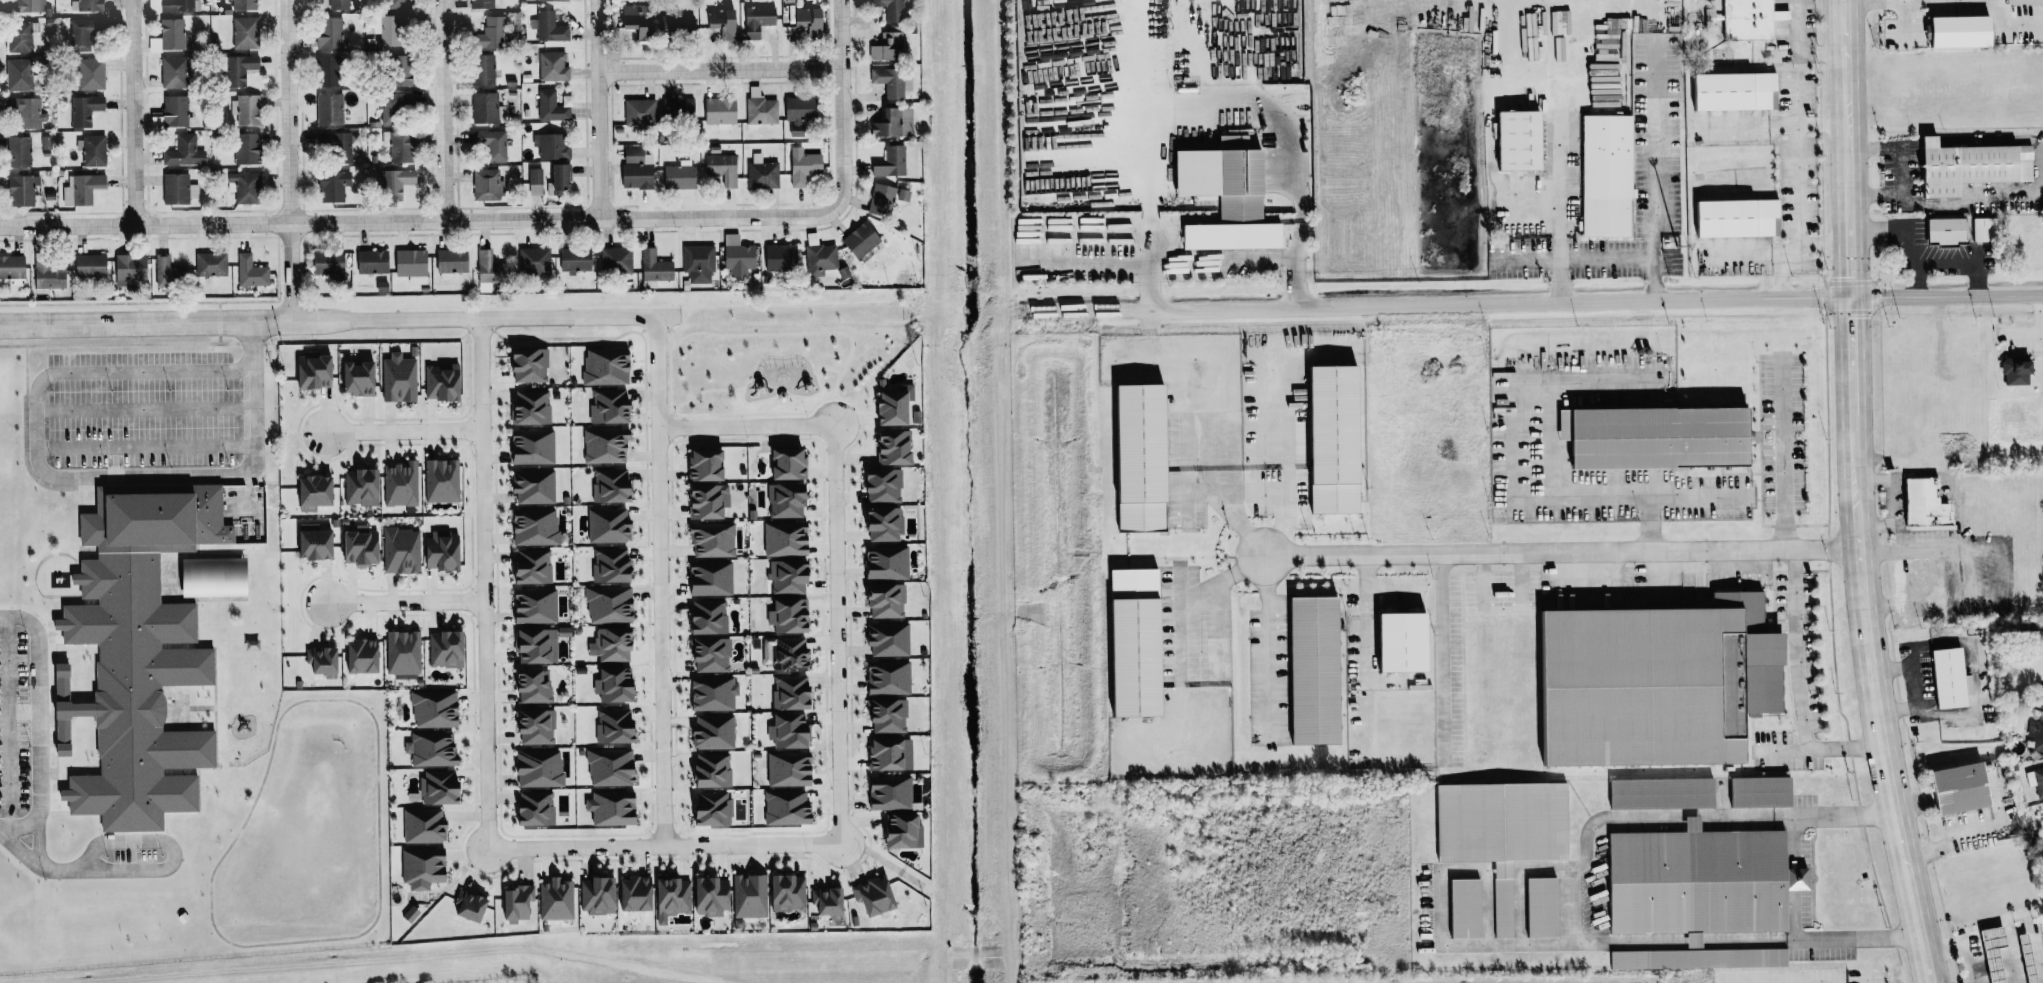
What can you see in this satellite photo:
building: (551, 0)
road: (1912, 0)
building: (338, 4)
building: (400, 4)
building: (485, 4)
building: (90, 5)
building: (177, 5)
building: (245, 5)
building: (27, 6)
building: (888, 8)
building: (631, 18)
building: (753, 19)
building: (804, 19)
building: (1747, 19)
building: (680, 22)
building: (720, 22)
building: (1553, 22)
road: (1907, 22)
road: (2009, 24)
building: (546, 26)
building: (394, 30)
building: (1952, 30)
building: (487, 32)
building: (246, 33)
building: (332, 34)
building: (85, 35)
building: (169, 36)
building: (21, 37)
building: (1604, 42)
building: (885, 46)
road: (1800, 47)
building: (551, 66)
building: (480, 69)
building: (240, 70)
building: (395, 70)
road: (720, 70)
building: (176, 73)
building: (92, 74)
building: (18, 75)
building: (889, 82)
building: (1729, 90)
road: (1846, 90)
building: (324, 92)
road: (1179, 99)
road: (841, 101)
building: (393, 105)
building: (551, 105)
road: (1126, 106)
building: (482, 107)
building: (795, 108)
building: (243, 109)
road: (599, 109)
building: (676, 109)
building: (85, 110)
building: (172, 110)
building: (716, 110)
building: (759, 110)
road: (1247, 110)
building: (26, 111)
road: (443, 111)
building: (636, 111)
road: (133, 112)
building: (892, 122)
road: (1821, 124)
road: (1746, 125)
building: (1514, 139)
building: (490, 143)
building: (337, 145)
building: (549, 145)
building: (397, 146)
building: (243, 147)
building: (91, 150)
building: (16, 151)
building: (182, 151)
road: (289, 160)
building: (889, 161)
building: (1966, 165)
building: (801, 166)
building: (720, 167)
building: (633, 168)
road: (1906, 168)
building: (760, 172)
road: (1656, 173)
building: (1602, 174)
building: (676, 176)
building: (555, 177)
building: (533, 180)
building: (392, 182)
road: (1796, 183)
building: (483, 184)
building: (241, 186)
building: (327, 186)
building: (80, 188)
building: (176, 188)
building: (19, 189)
building: (902, 194)
building: (879, 199)
road: (1562, 209)
building: (1732, 217)
road: (421, 222)
building: (1979, 228)
building: (1941, 230)
road: (1912, 233)
building: (1228, 235)
building: (857, 239)
road: (1849, 239)
road: (1045, 249)
building: (735, 253)
road: (1750, 254)
building: (777, 256)
road: (1573, 257)
road: (1148, 258)
road: (1223, 258)
road: (1298, 258)
building: (571, 259)
building: (817, 259)
building: (448, 260)
building: (613, 260)
building: (324, 261)
building: (369, 261)
building: (531, 261)
building: (407, 262)
building: (696, 262)
building: (86, 264)
building: (207, 264)
building: (10, 266)
building: (651, 266)
building: (126, 267)
building: (159, 268)
road: (1962, 268)
building: (483, 269)
building: (248, 271)
building: (46, 273)
road: (1782, 277)
road: (1946, 296)
road: (1435, 304)
road: (327, 320)
road: (1851, 355)
building: (524, 363)
building: (602, 365)
building: (306, 370)
building: (2011, 370)
road: (656, 371)
building: (351, 377)
building: (396, 377)
road: (1595, 379)
building: (437, 381)
building: (888, 404)
building: (605, 405)
building: (526, 407)
road: (144, 409)
road: (745, 426)
road: (35, 428)
road: (402, 430)
building: (1648, 436)
building: (602, 445)
building: (528, 446)
building: (887, 446)
road: (1782, 450)
building: (1133, 454)
road: (1512, 454)
building: (782, 463)
building: (699, 464)
road: (145, 475)
building: (439, 480)
building: (398, 484)
building: (607, 485)
building: (878, 485)
building: (357, 486)
building: (529, 486)
building: (308, 490)
road: (1594, 496)
building: (702, 500)
building: (782, 500)
building: (1921, 503)
road: (1227, 511)
building: (878, 523)
road: (1648, 524)
building: (605, 525)
building: (532, 527)
building: (780, 539)
building: (708, 540)
building: (308, 541)
building: (356, 545)
road: (1927, 548)
building: (399, 550)
building: (439, 550)
road: (1558, 552)
building: (881, 562)
building: (605, 564)
building: (527, 567)
building: (204, 576)
building: (783, 576)
building: (705, 578)
road: (1220, 578)
road: (481, 583)
road: (1394, 593)
building: (881, 599)
road: (404, 601)
building: (606, 604)
building: (529, 605)
building: (783, 613)
road: (1982, 614)
building: (703, 617)
road: (1179, 622)
road: (659, 624)
road: (836, 634)
building: (884, 638)
road: (1365, 641)
building: (1394, 641)
building: (1128, 642)
building: (607, 644)
building: (169, 645)
building: (531, 645)
building: (441, 648)
road: (1268, 648)
road: (1795, 650)
building: (400, 652)
building: (781, 653)
building: (705, 654)
building: (356, 655)
building: (137, 656)
road: (1441, 659)
building: (316, 660)
building: (1307, 669)
building: (884, 677)
building: (1946, 678)
building: (1648, 681)
building: (610, 683)
building: (528, 685)
road: (1914, 685)
road: (1872, 687)
building: (2042, 690)
building: (785, 692)
building: (708, 693)
building: (431, 709)
building: (883, 715)
building: (610, 725)
road: (38, 726)
building: (531, 726)
building: (785, 730)
building: (709, 731)
building: (2035, 734)
road: (1817, 747)
building: (427, 748)
building: (881, 754)
building: (606, 766)
building: (535, 767)
building: (783, 768)
building: (706, 770)
building: (2035, 779)
building: (434, 786)
building: (1954, 788)
building: (1758, 791)
building: (885, 792)
building: (1658, 793)
building: (607, 807)
building: (782, 807)
building: (530, 808)
building: (706, 809)
track: (246, 814)
road: (1713, 818)
building: (419, 825)
building: (897, 831)
building: (1499, 831)
road: (662, 834)
road: (1949, 835)
road: (664, 845)
road: (169, 846)
road: (39, 848)
road: (35, 865)
building: (419, 865)
road: (1503, 869)
road: (1793, 878)
building: (1695, 881)
building: (630, 893)
building: (782, 893)
building: (746, 895)
building: (596, 896)
building: (707, 896)
building: (869, 897)
building: (668, 898)
building: (554, 899)
building: (513, 902)
building: (825, 903)
road: (1568, 905)
road: (1520, 906)
building: (465, 907)
road: (1439, 907)
road: (1486, 907)
building: (1537, 907)
building: (1460, 908)
road: (1679, 941)
building: (1989, 952)
building: (1697, 958)
building: (2023, 958)
road: (1927, 970)

